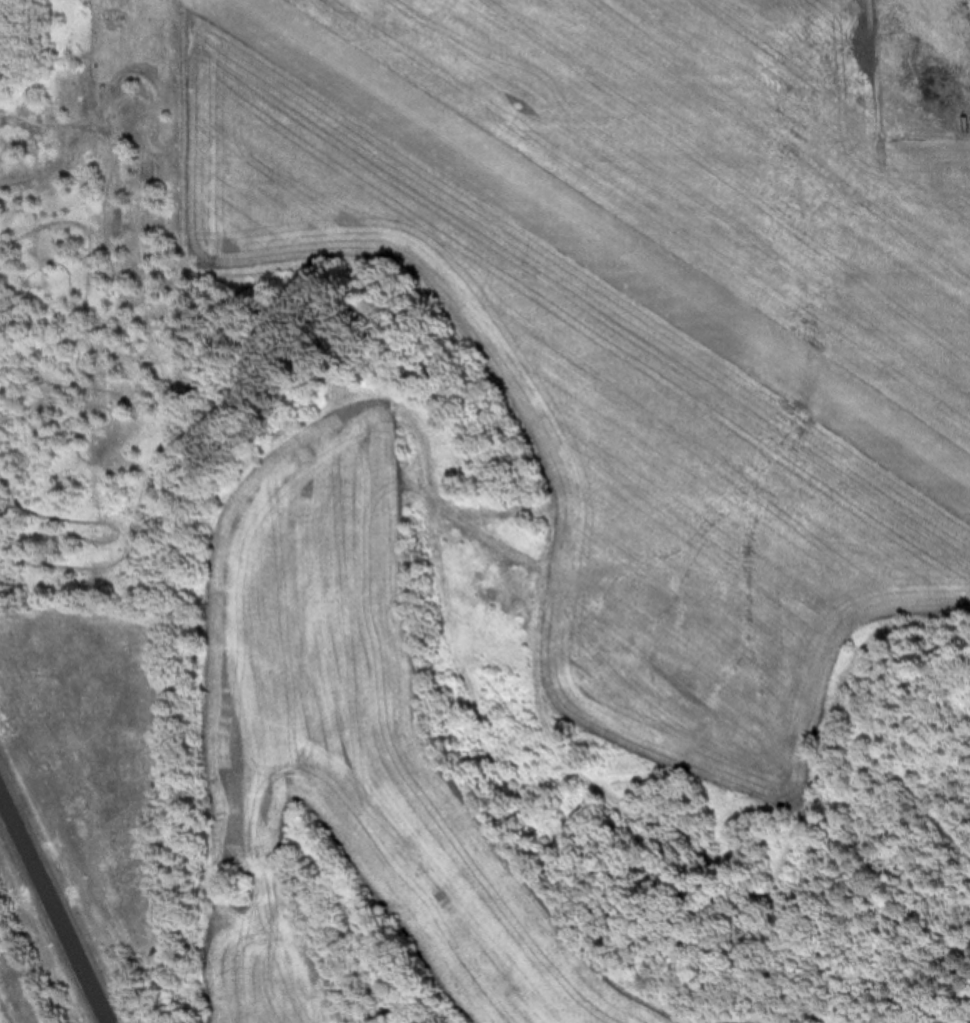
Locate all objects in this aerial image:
crop: (582, 547)
road: (52, 911)

